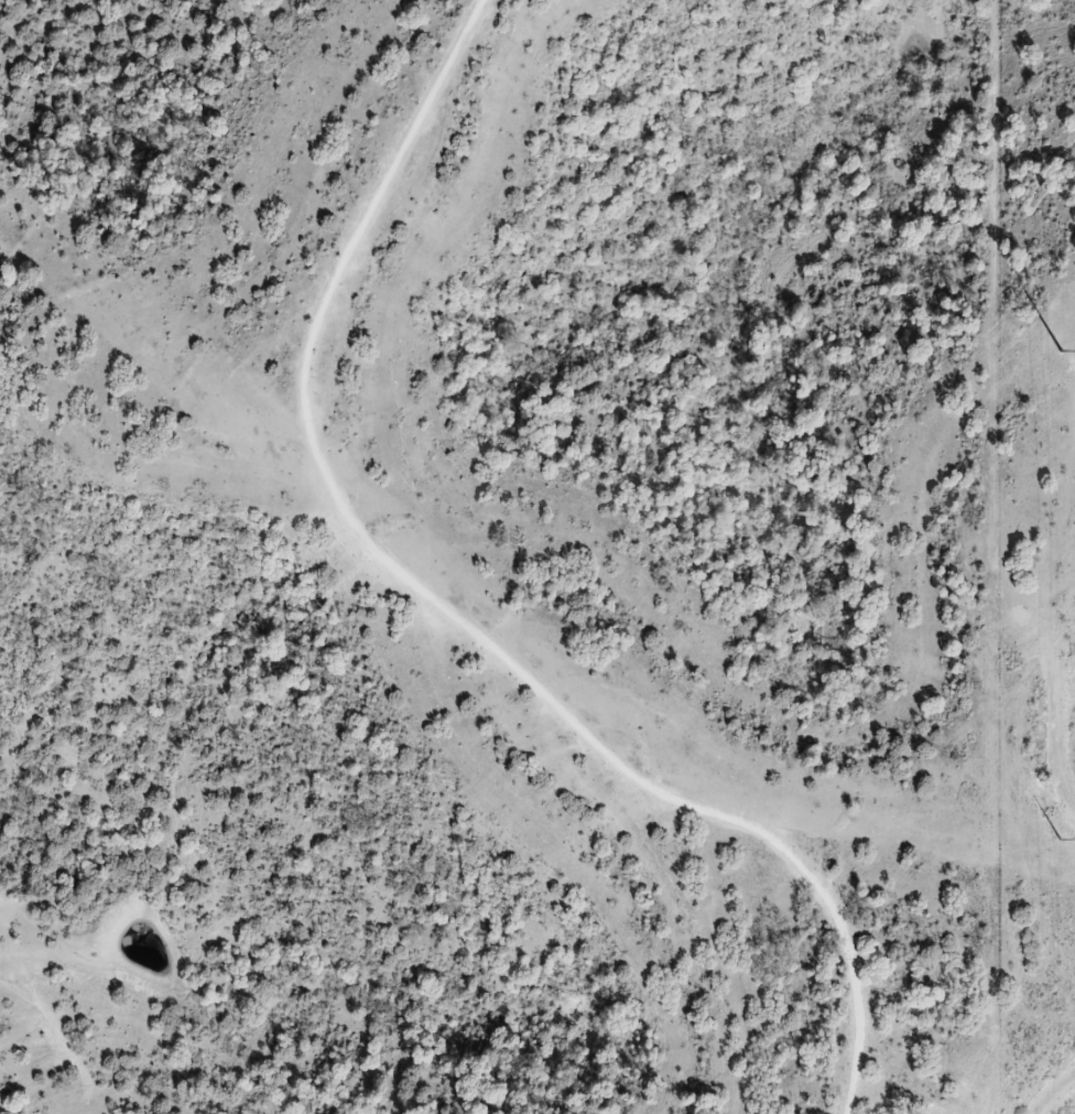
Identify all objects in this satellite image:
road: (1027, 199)
power tower: (1062, 354)
power tower: (1060, 839)
road: (1053, 1091)

